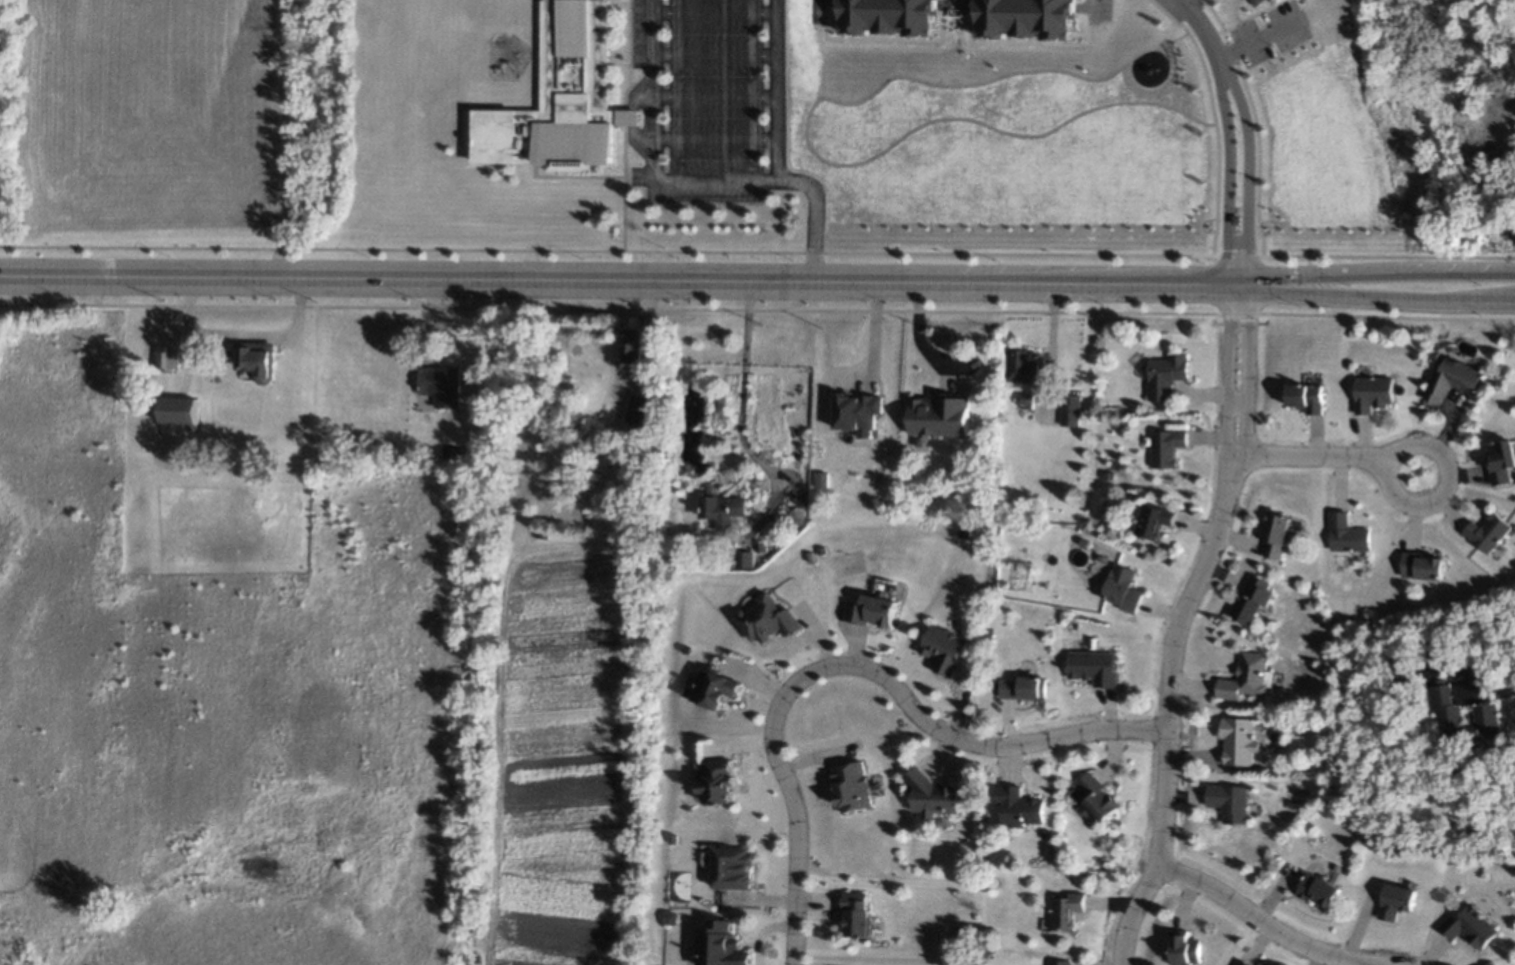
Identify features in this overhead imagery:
road: (823, 0)
building: (1269, 0)
road: (952, 2)
building: (1255, 2)
road: (952, 4)
road: (1079, 7)
road: (1088, 10)
parking lot: (1100, 10)
road: (1232, 11)
road: (1212, 13)
parking lot: (811, 16)
building: (882, 16)
building: (1021, 18)
road: (1242, 18)
road: (827, 28)
road: (1247, 29)
parking lot: (1268, 32)
road: (1202, 33)
road: (1239, 33)
road: (1075, 35)
road: (1220, 36)
road: (1231, 37)
road: (1259, 37)
road: (876, 38)
road: (1020, 41)
road: (1152, 47)
road: (1227, 51)
road: (1154, 85)
road: (651, 90)
road: (773, 91)
building: (559, 97)
road: (1211, 114)
park: (156, 129)
road: (1257, 156)
road: (829, 163)
road: (1246, 174)
road: (1227, 178)
road: (712, 182)
road: (811, 216)
road: (608, 250)
road: (1236, 255)
road: (1385, 255)
road: (1380, 272)
road: (623, 278)
road: (1380, 297)
building: (723, 335)
road: (915, 339)
building: (629, 344)
building: (222, 352)
building: (167, 357)
building: (255, 359)
building: (1021, 370)
building: (1166, 376)
building: (1453, 380)
building: (440, 385)
building: (1373, 393)
road: (1202, 394)
road: (1226, 396)
road: (1246, 397)
building: (1307, 398)
building: (1024, 400)
road: (1236, 400)
building: (637, 407)
building: (179, 410)
building: (1071, 411)
building: (857, 412)
road: (741, 413)
building: (940, 415)
road: (1415, 440)
building: (544, 441)
building: (1168, 447)
building: (447, 452)
road: (1306, 455)
building: (1501, 461)
building: (821, 478)
building: (799, 500)
building: (722, 506)
building: (799, 515)
building: (1154, 520)
building: (1488, 532)
building: (1346, 534)
building: (1277, 535)
building: (1085, 543)
building: (819, 549)
building: (806, 554)
building: (730, 559)
building: (744, 559)
building: (1421, 566)
building: (1124, 589)
building: (1251, 601)
building: (872, 610)
building: (769, 619)
building: (990, 638)
building: (944, 650)
building: (1096, 668)
building: (1397, 675)
building: (1247, 678)
building: (717, 688)
building: (1026, 688)
park: (223, 693)
road: (1487, 696)
building: (1485, 717)
road: (1167, 735)
building: (1238, 741)
road: (975, 743)
building: (1306, 767)
building: (1457, 772)
building: (721, 780)
building: (851, 788)
building: (933, 795)
building: (1097, 798)
building: (1228, 802)
building: (1020, 807)
road: (793, 810)
building: (1048, 834)
building: (674, 838)
building: (732, 867)
building: (1318, 890)
building: (1396, 901)
building: (1066, 910)
building: (856, 913)
building: (672, 917)
road: (1257, 919)
building: (1470, 927)
building: (721, 945)
building: (1183, 949)
building: (1059, 963)
building: (1242, 963)

